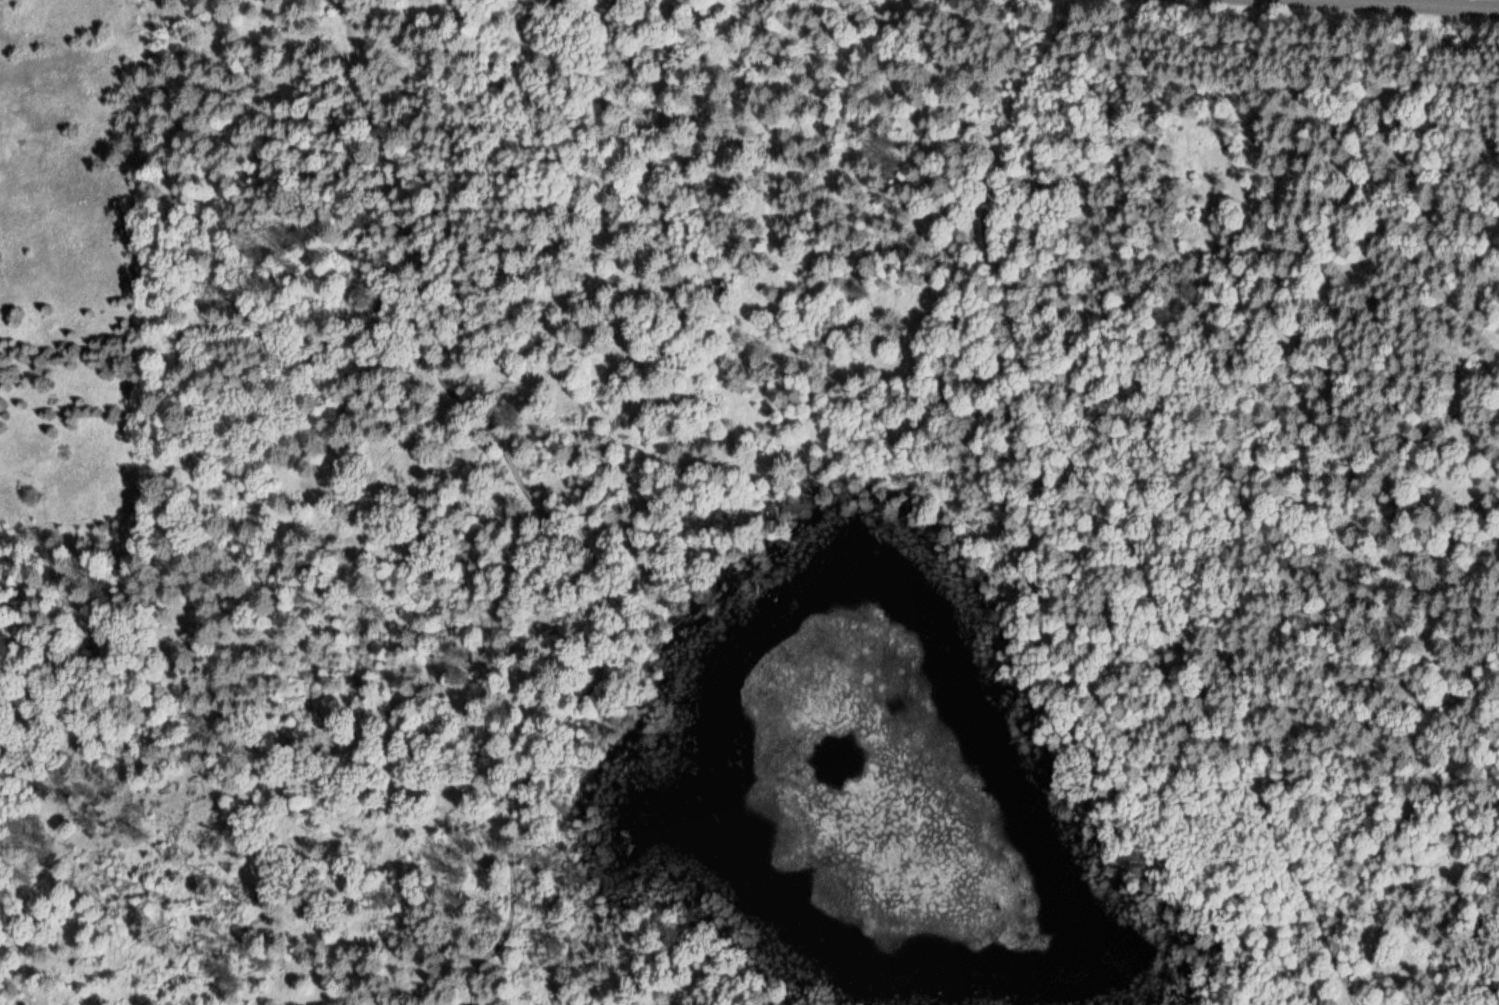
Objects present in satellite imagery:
road: (1460, 2)

